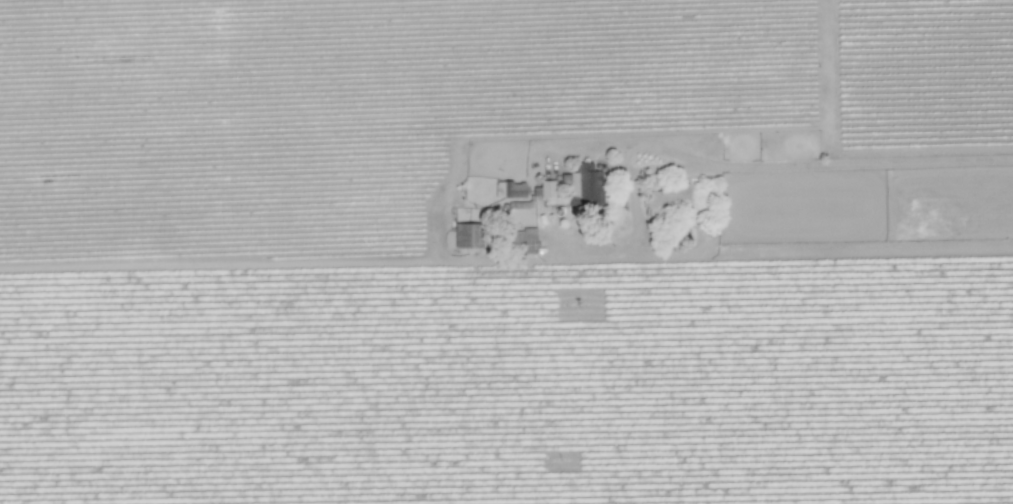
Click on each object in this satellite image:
road: (780, 166)
building: (584, 185)
building: (547, 189)
building: (513, 190)
building: (667, 200)
building: (467, 236)

